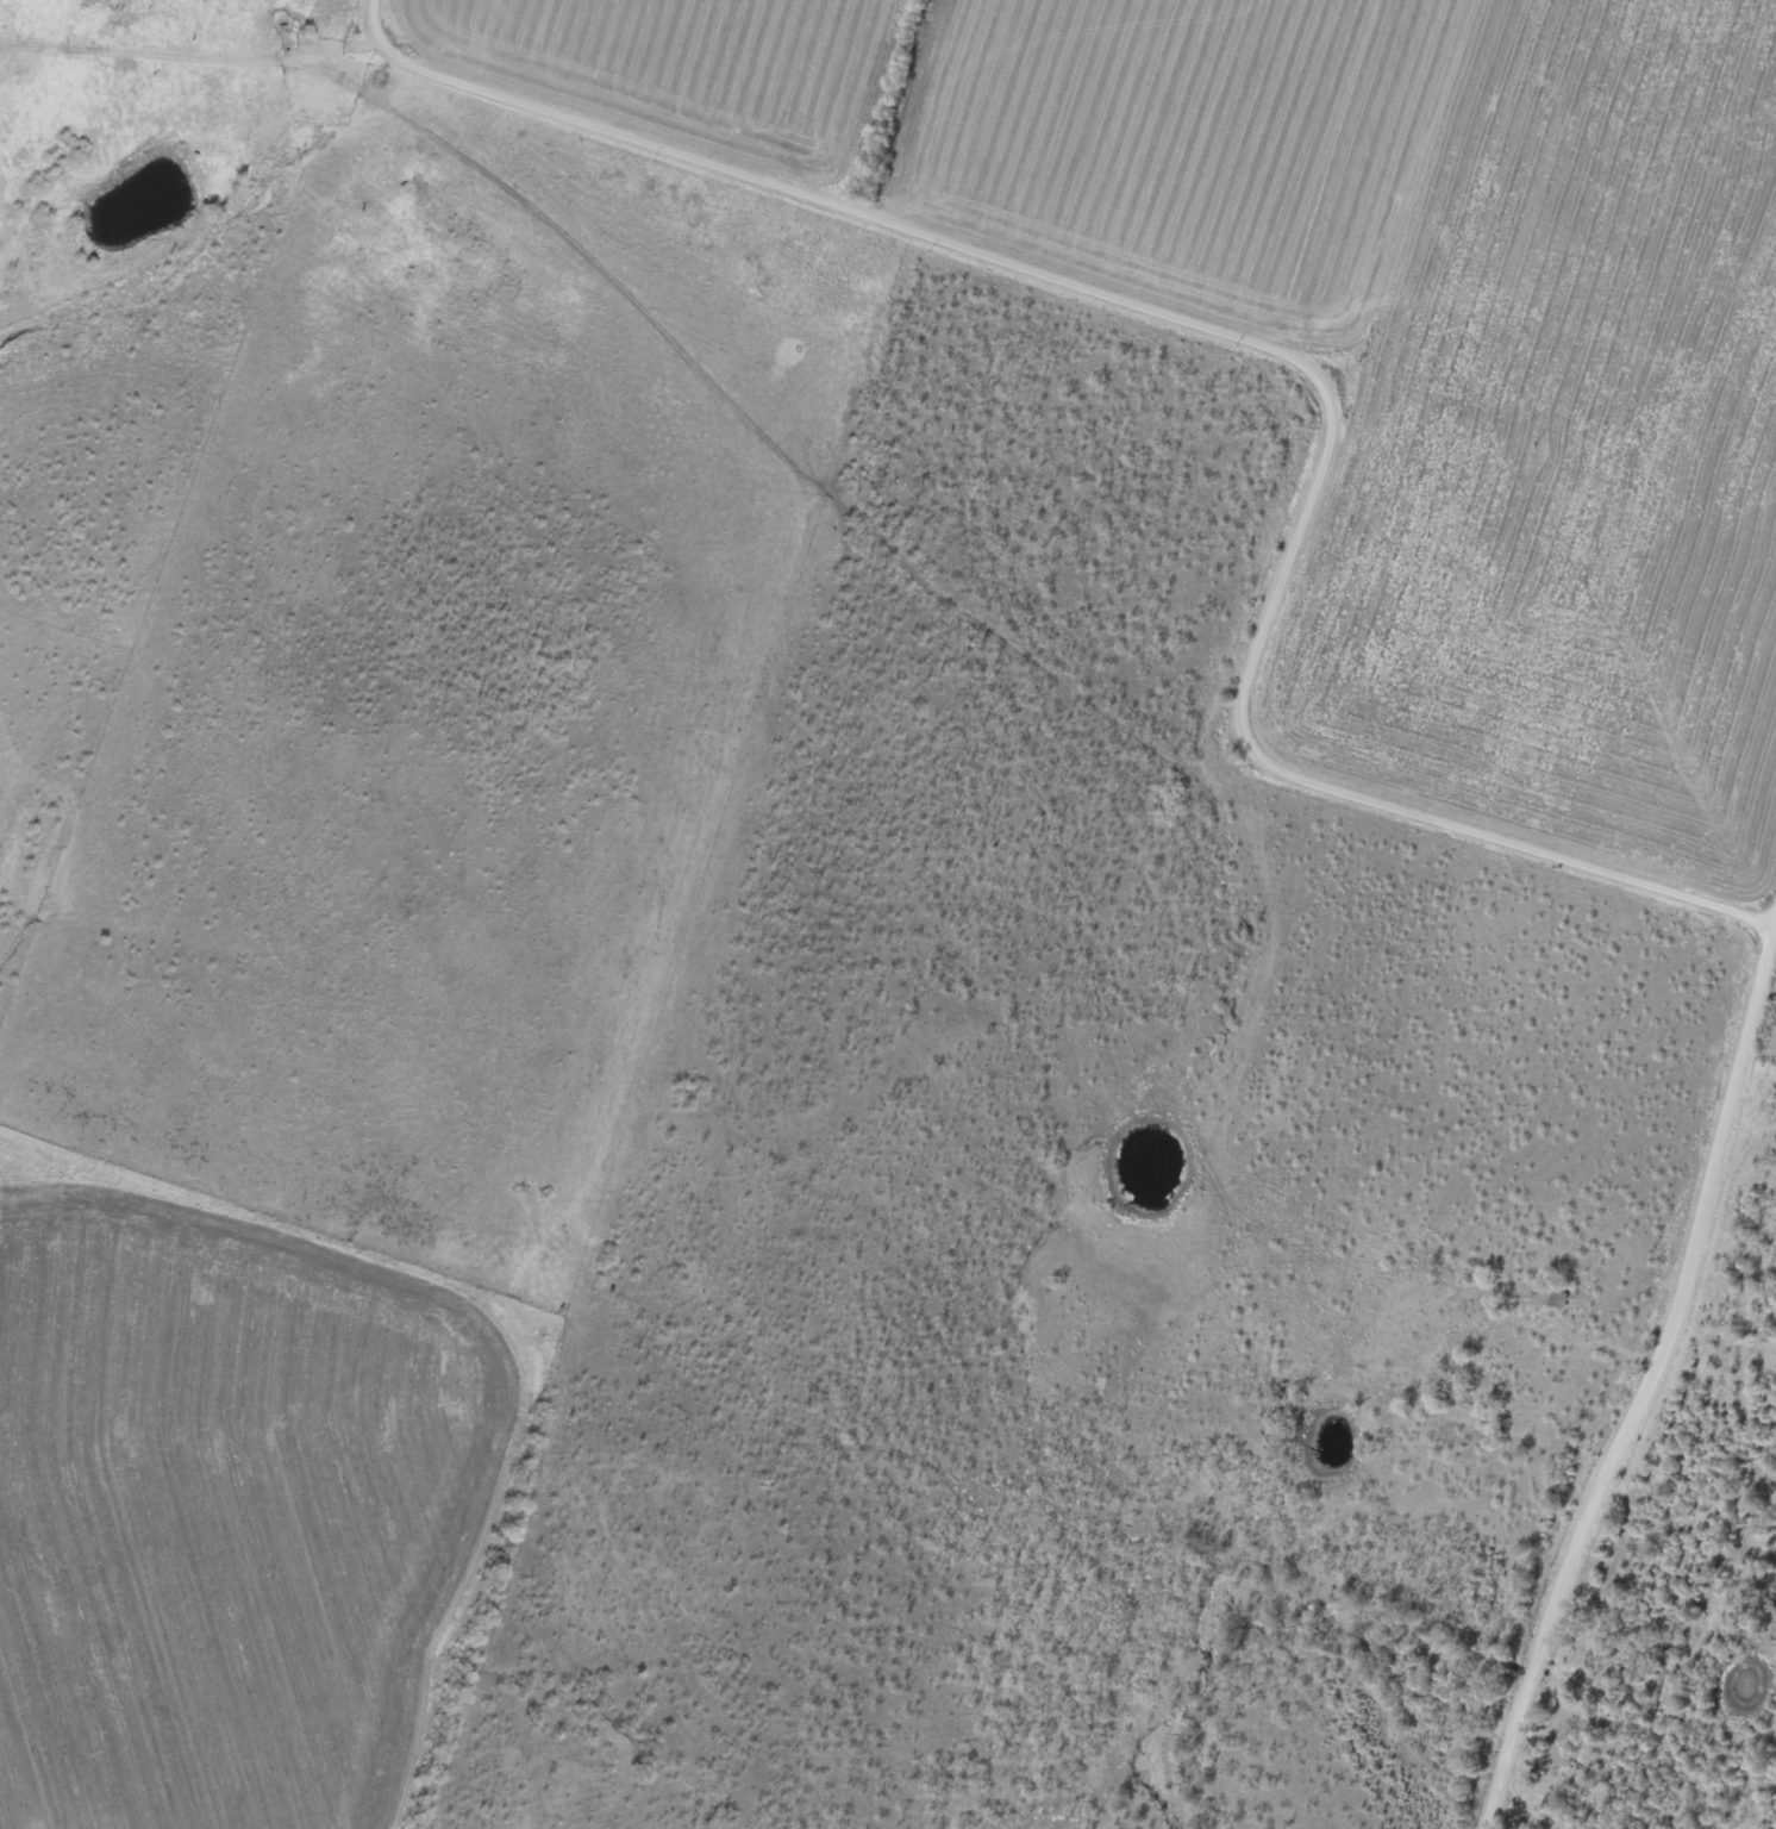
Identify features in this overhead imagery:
road: (374, 5)
road: (1282, 352)
road: (1775, 922)
road: (1647, 1381)

